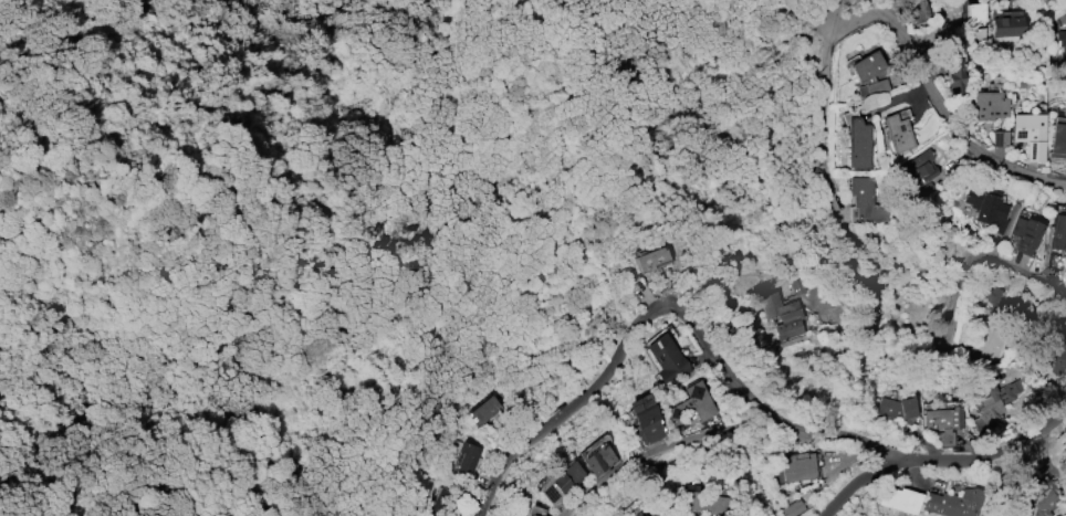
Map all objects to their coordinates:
building: (913, 10)
road: (828, 14)
building: (975, 20)
building: (1006, 27)
building: (1062, 41)
building: (955, 72)
building: (867, 75)
building: (989, 106)
road: (937, 108)
building: (897, 133)
building: (1030, 134)
building: (1000, 138)
building: (1058, 138)
building: (857, 144)
road: (824, 161)
building: (919, 168)
building: (866, 200)
building: (986, 208)
building: (1059, 232)
building: (1025, 234)
building: (648, 259)
road: (1016, 275)
building: (991, 295)
road: (675, 308)
building: (781, 315)
building: (989, 344)
building: (1053, 349)
building: (666, 359)
building: (692, 404)
building: (994, 404)
building: (896, 408)
building: (484, 411)
building: (646, 419)
building: (943, 423)
road: (662, 447)
building: (467, 457)
building: (598, 460)
road: (942, 462)
building: (798, 467)
building: (558, 483)
building: (1038, 498)
building: (900, 499)
building: (701, 503)
building: (953, 503)
building: (794, 508)
building: (645, 514)
building: (531, 515)
building: (640, 515)
building: (650, 515)

